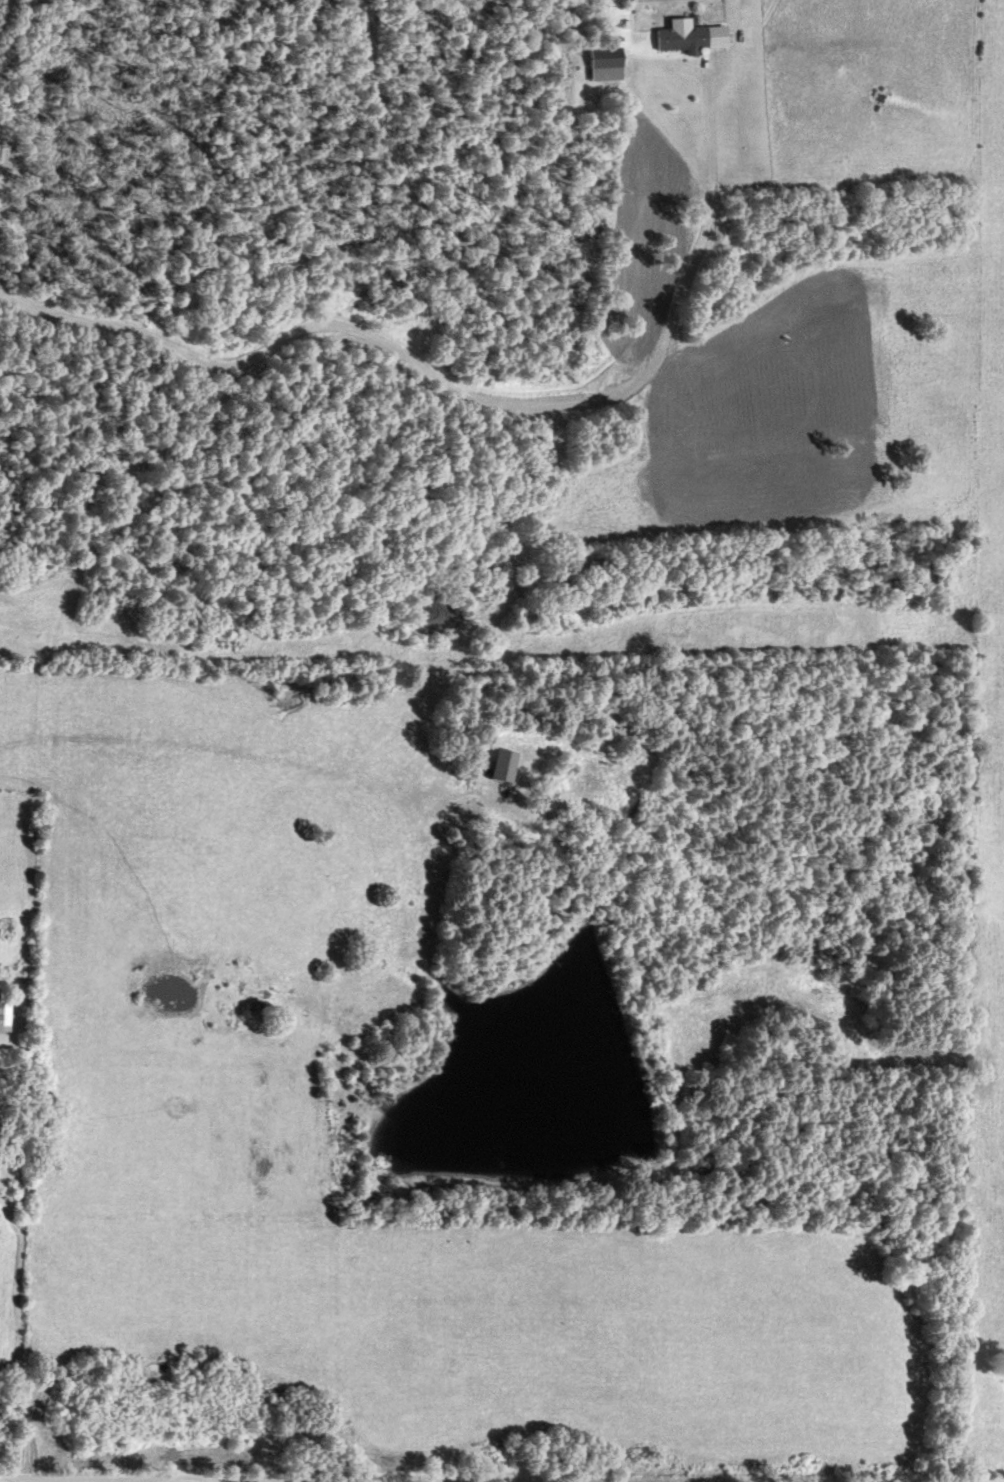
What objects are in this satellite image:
building: (698, 36)
building: (616, 63)
building: (502, 764)
building: (6, 1012)

